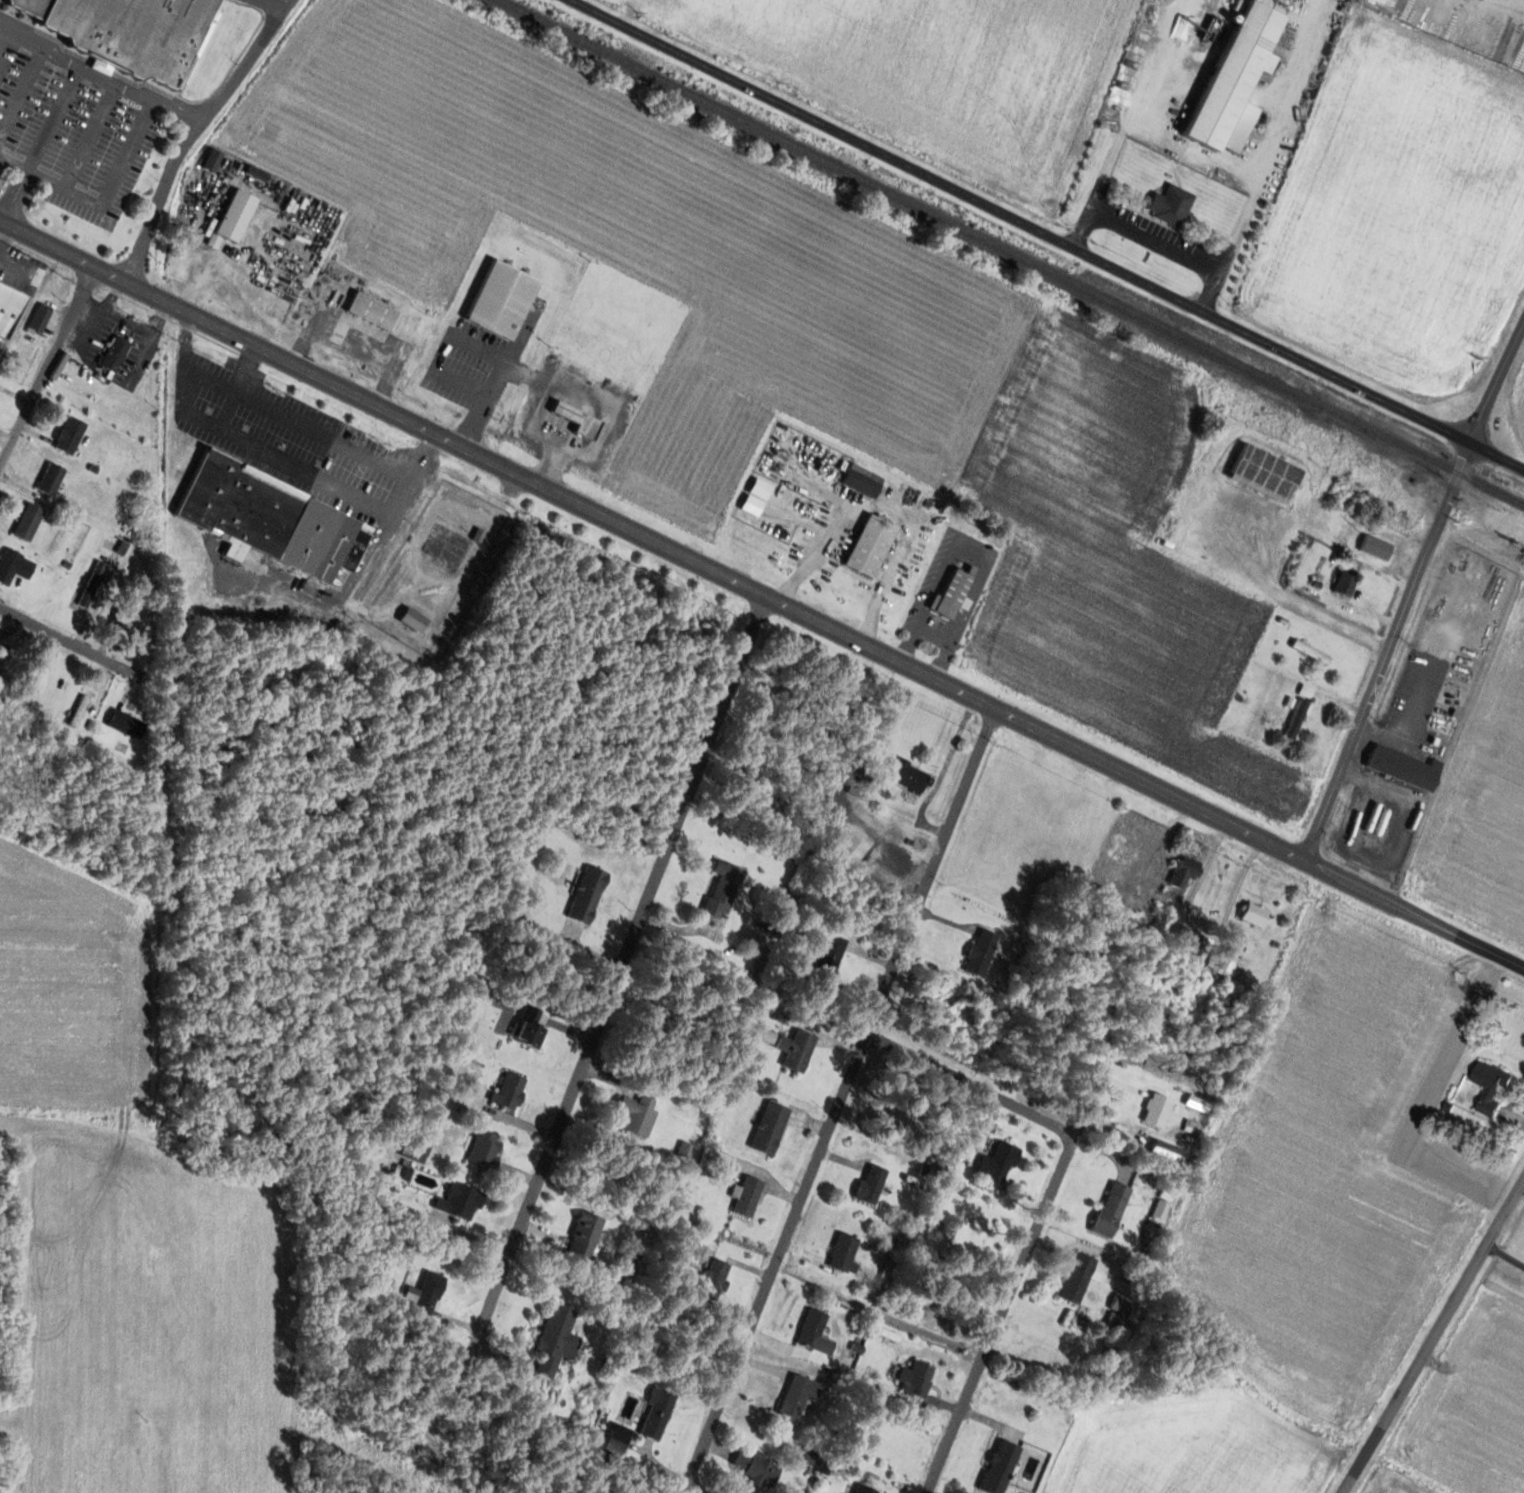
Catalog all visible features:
building: (30, 6)
building: (134, 33)
building: (1236, 81)
building: (1170, 205)
building: (233, 217)
road: (1026, 225)
road: (47, 242)
railway: (1011, 252)
building: (502, 299)
building: (9, 306)
building: (372, 310)
building: (39, 318)
building: (114, 354)
road: (47, 368)
road: (1497, 380)
building: (579, 420)
building: (69, 435)
road: (1497, 455)
railway: (1432, 473)
building: (1265, 474)
building: (50, 479)
building: (862, 481)
building: (270, 519)
building: (28, 522)
building: (870, 546)
building: (1376, 547)
road: (699, 563)
building: (13, 566)
building: (192, 572)
building: (92, 585)
building: (1345, 585)
building: (951, 593)
building: (133, 619)
road: (1385, 651)
building: (1310, 653)
road: (195, 704)
building: (79, 711)
building: (1296, 719)
building: (126, 724)
building: (1446, 724)
building: (1404, 767)
building: (909, 776)
road: (379, 830)
building: (1184, 871)
road: (82, 874)
building: (723, 889)
building: (587, 894)
building: (1105, 902)
road: (1414, 914)
building: (1255, 915)
building: (981, 953)
building: (828, 958)
building: (1222, 961)
road: (616, 979)
building: (530, 1028)
building: (769, 1036)
building: (796, 1049)
road: (972, 1084)
building: (1491, 1085)
building: (509, 1090)
road: (841, 1100)
building: (1197, 1102)
building: (1157, 1109)
building: (637, 1114)
building: (769, 1128)
building: (419, 1146)
building: (485, 1148)
building: (998, 1162)
building: (871, 1183)
building: (747, 1196)
road: (384, 1198)
building: (460, 1202)
building: (1111, 1209)
building: (585, 1233)
building: (844, 1253)
building: (888, 1272)
building: (1077, 1277)
building: (714, 1280)
road: (1010, 1291)
building: (428, 1294)
building: (1120, 1304)
building: (812, 1328)
road: (1432, 1336)
building: (556, 1339)
building: (915, 1379)
building: (798, 1396)
building: (657, 1414)
building: (617, 1439)
road: (644, 1465)
building: (1000, 1467)
building: (754, 1468)
building: (864, 1489)

